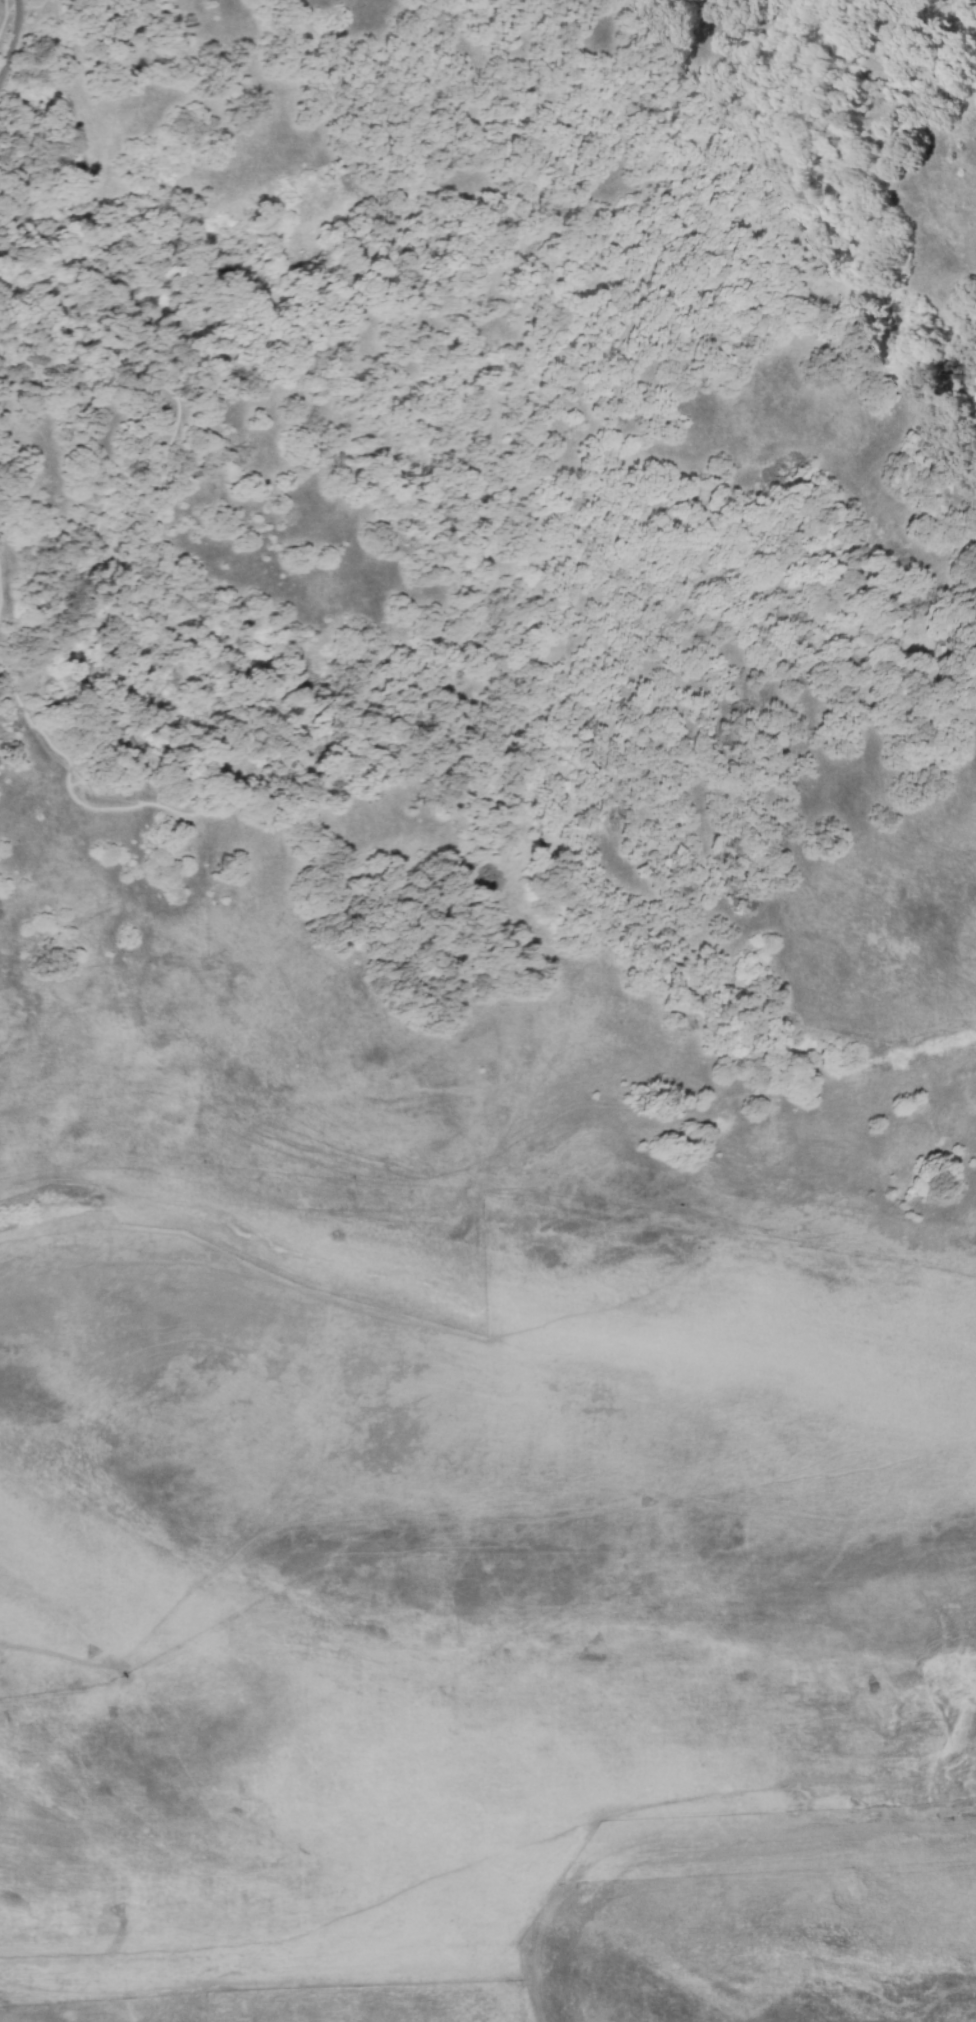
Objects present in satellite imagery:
road: (2, 13)
road: (9, 39)
park: (106, 525)
road: (103, 633)

